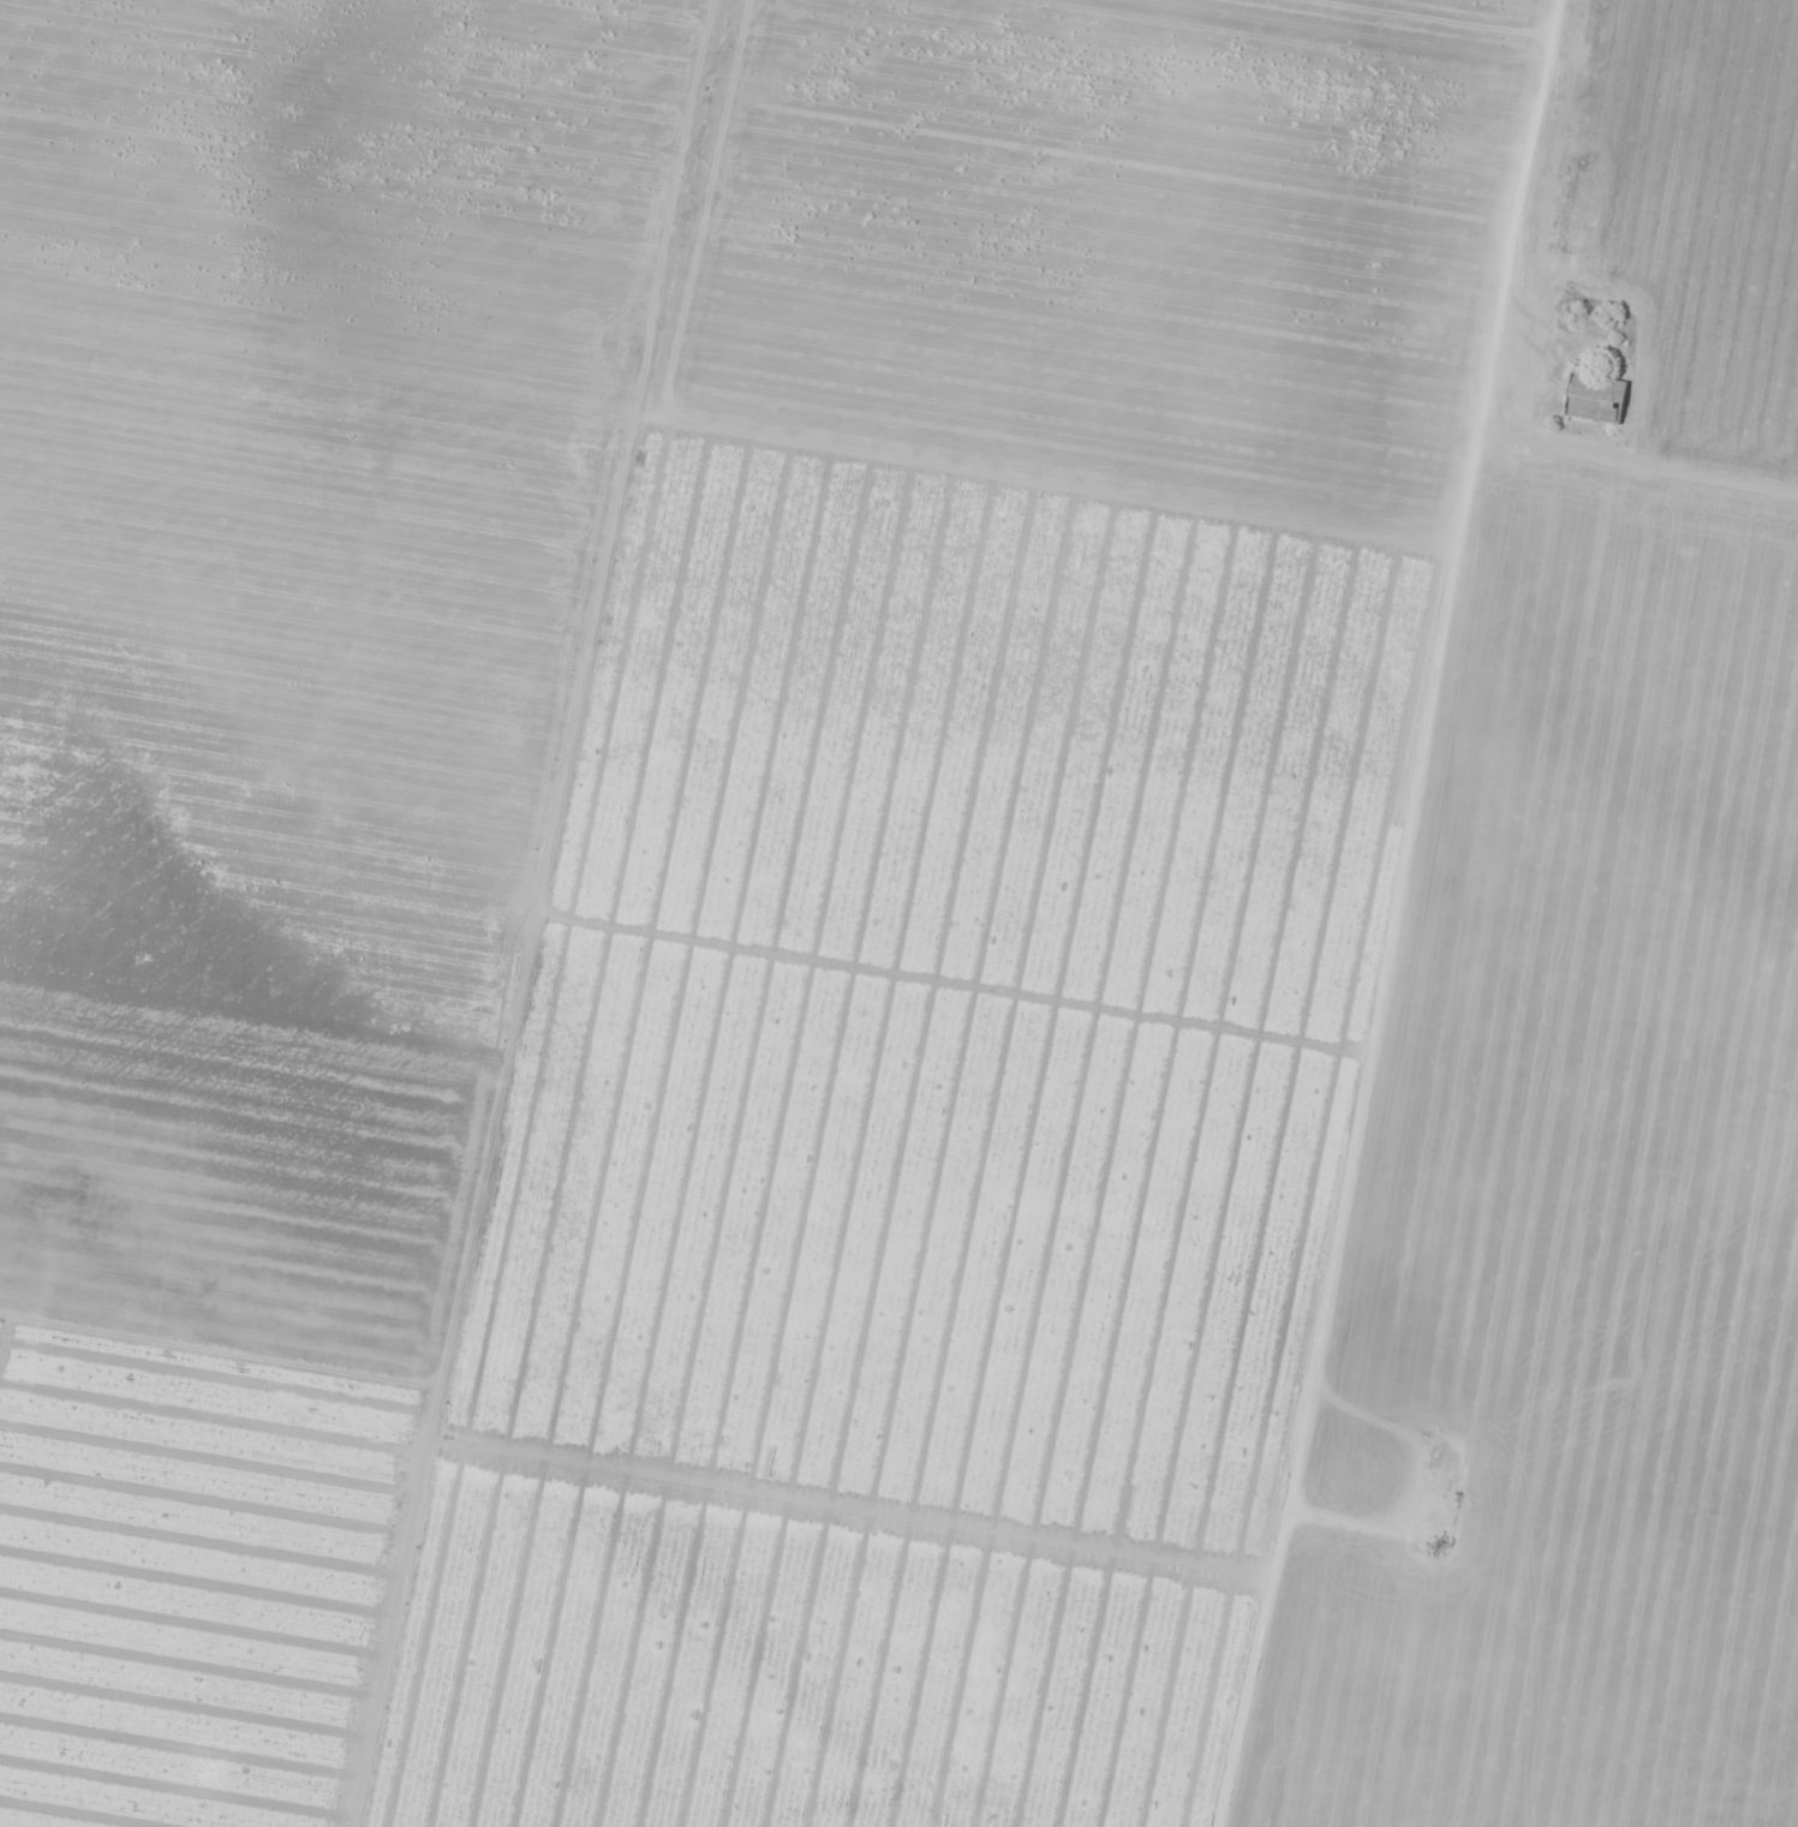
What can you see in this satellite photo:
building: (1595, 400)
road: (1429, 777)

